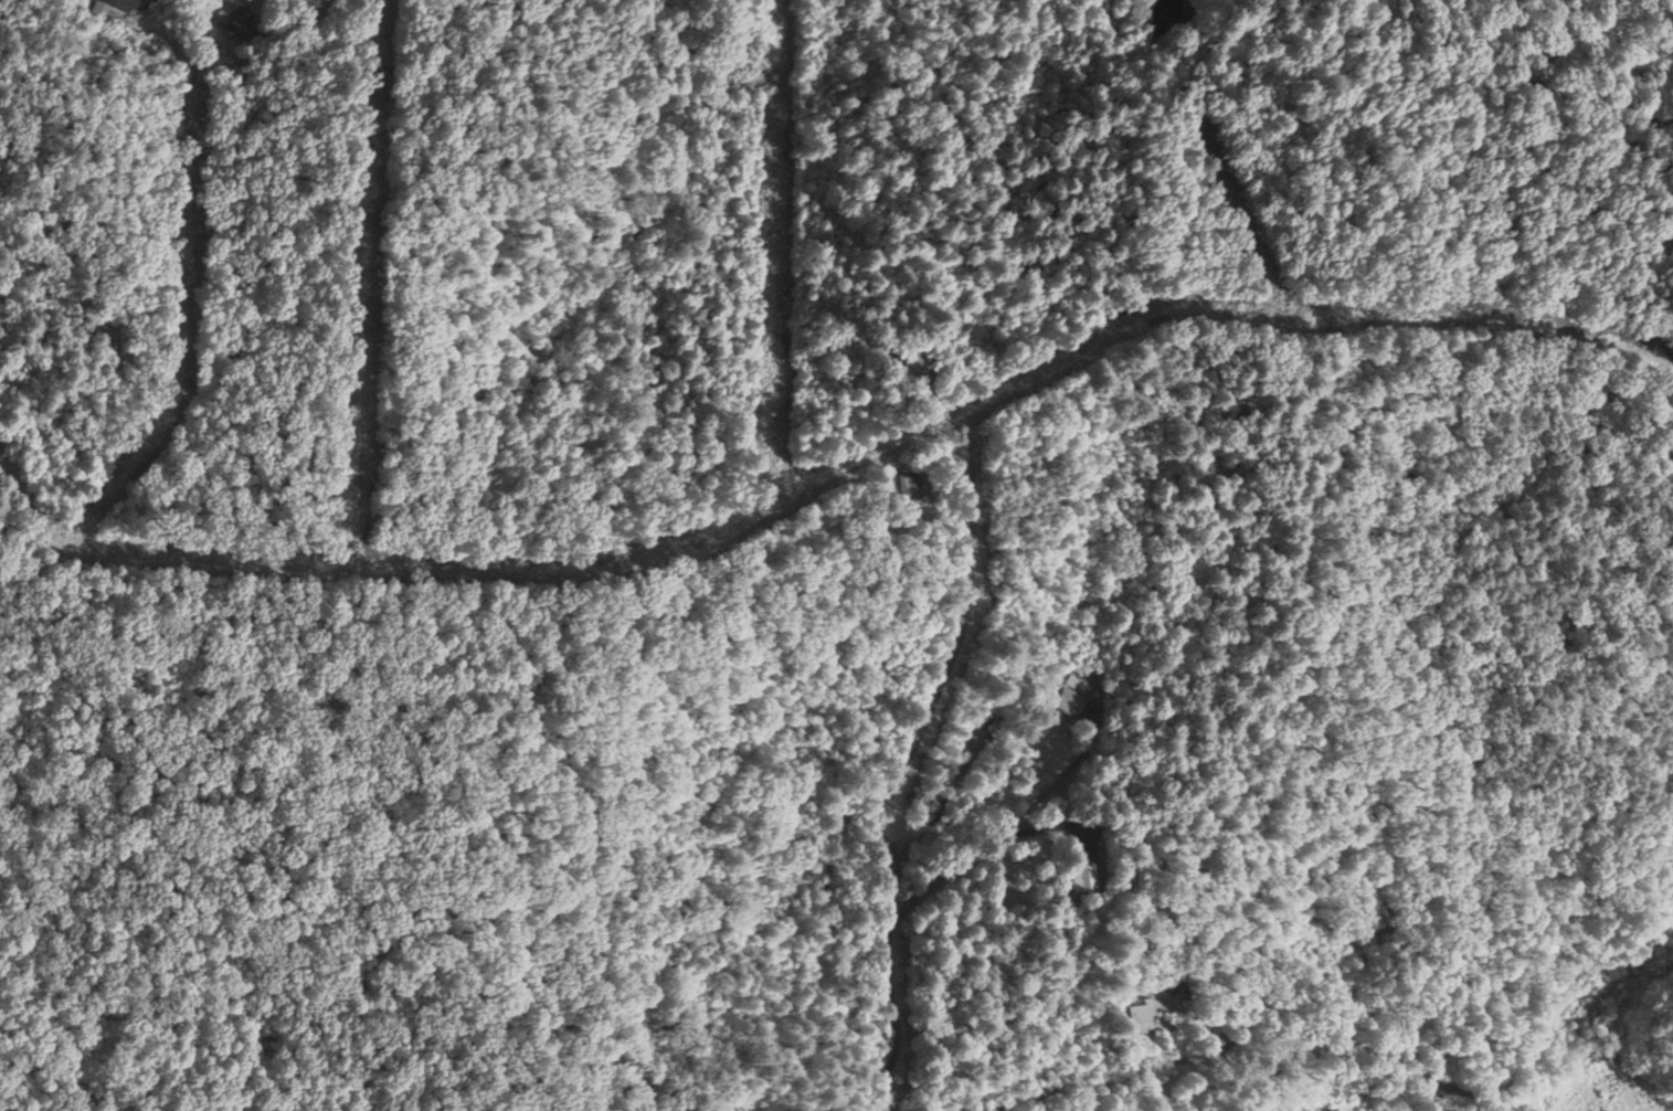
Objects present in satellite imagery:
road: (1479, 80)
road: (981, 412)
building: (1071, 695)
building: (1083, 877)
building: (1143, 1014)
road: (1344, 1039)

